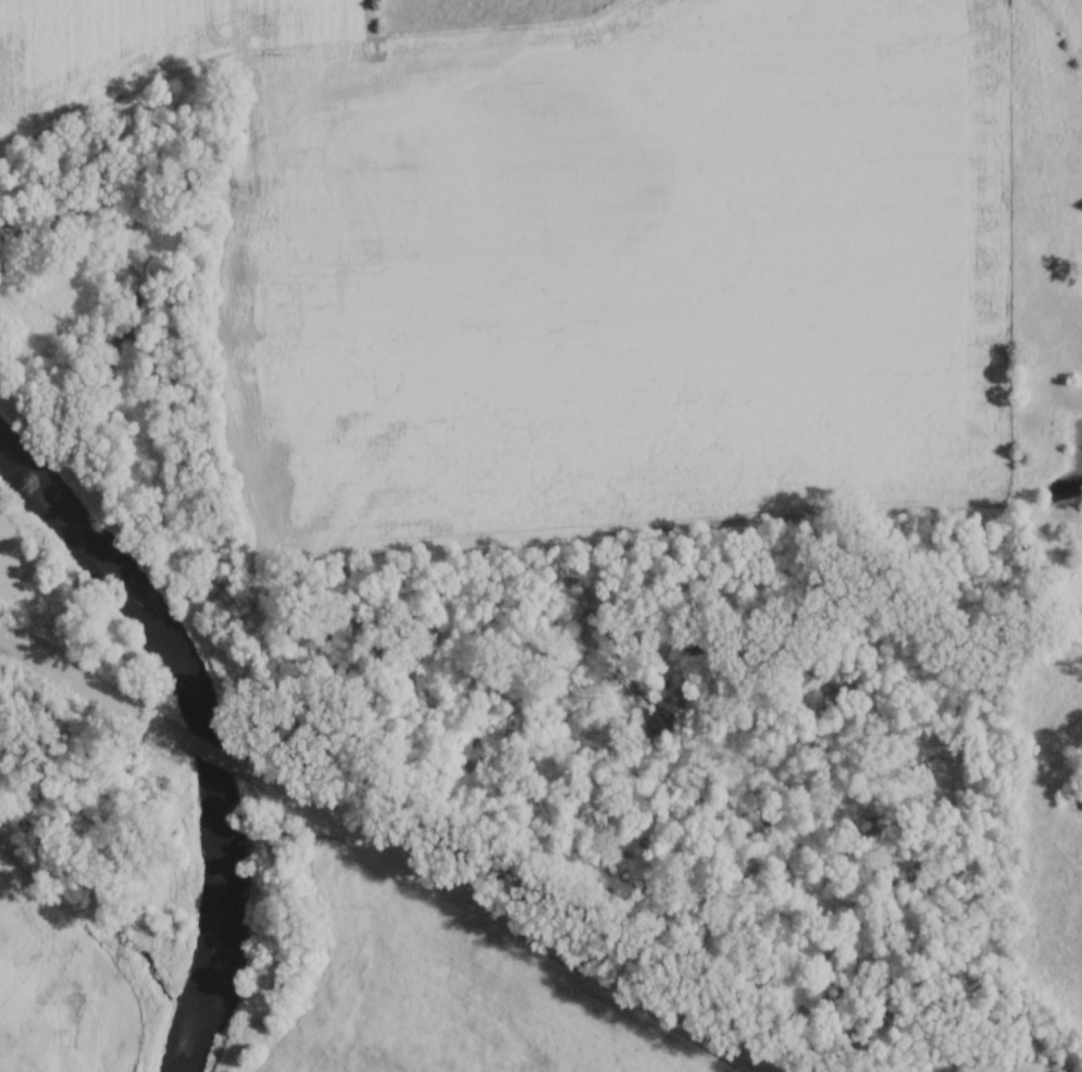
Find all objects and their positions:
road: (85, 685)
river: (204, 727)
road: (210, 749)
road: (510, 917)

